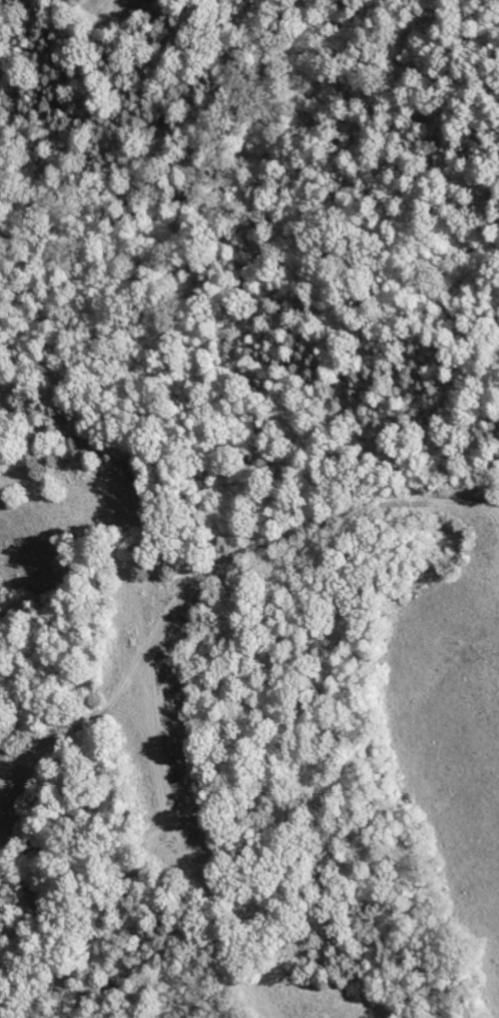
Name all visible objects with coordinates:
road: (176, 560)

